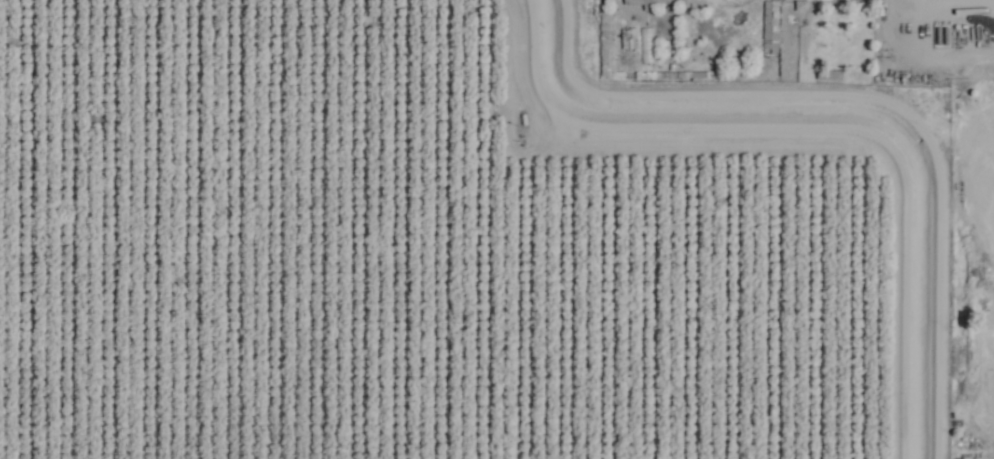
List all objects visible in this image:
building: (651, 2)
building: (768, 27)

